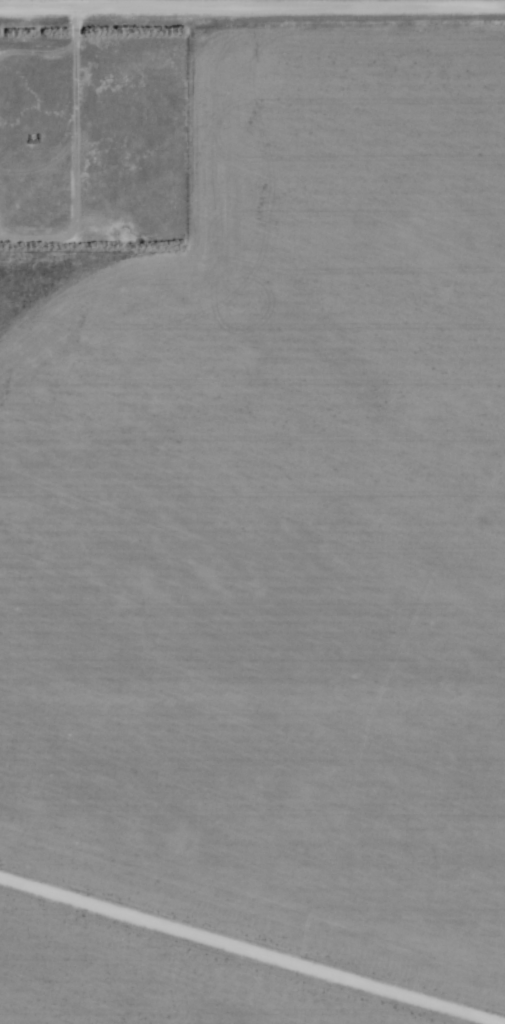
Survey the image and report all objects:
road: (252, 3)
park: (93, 137)

